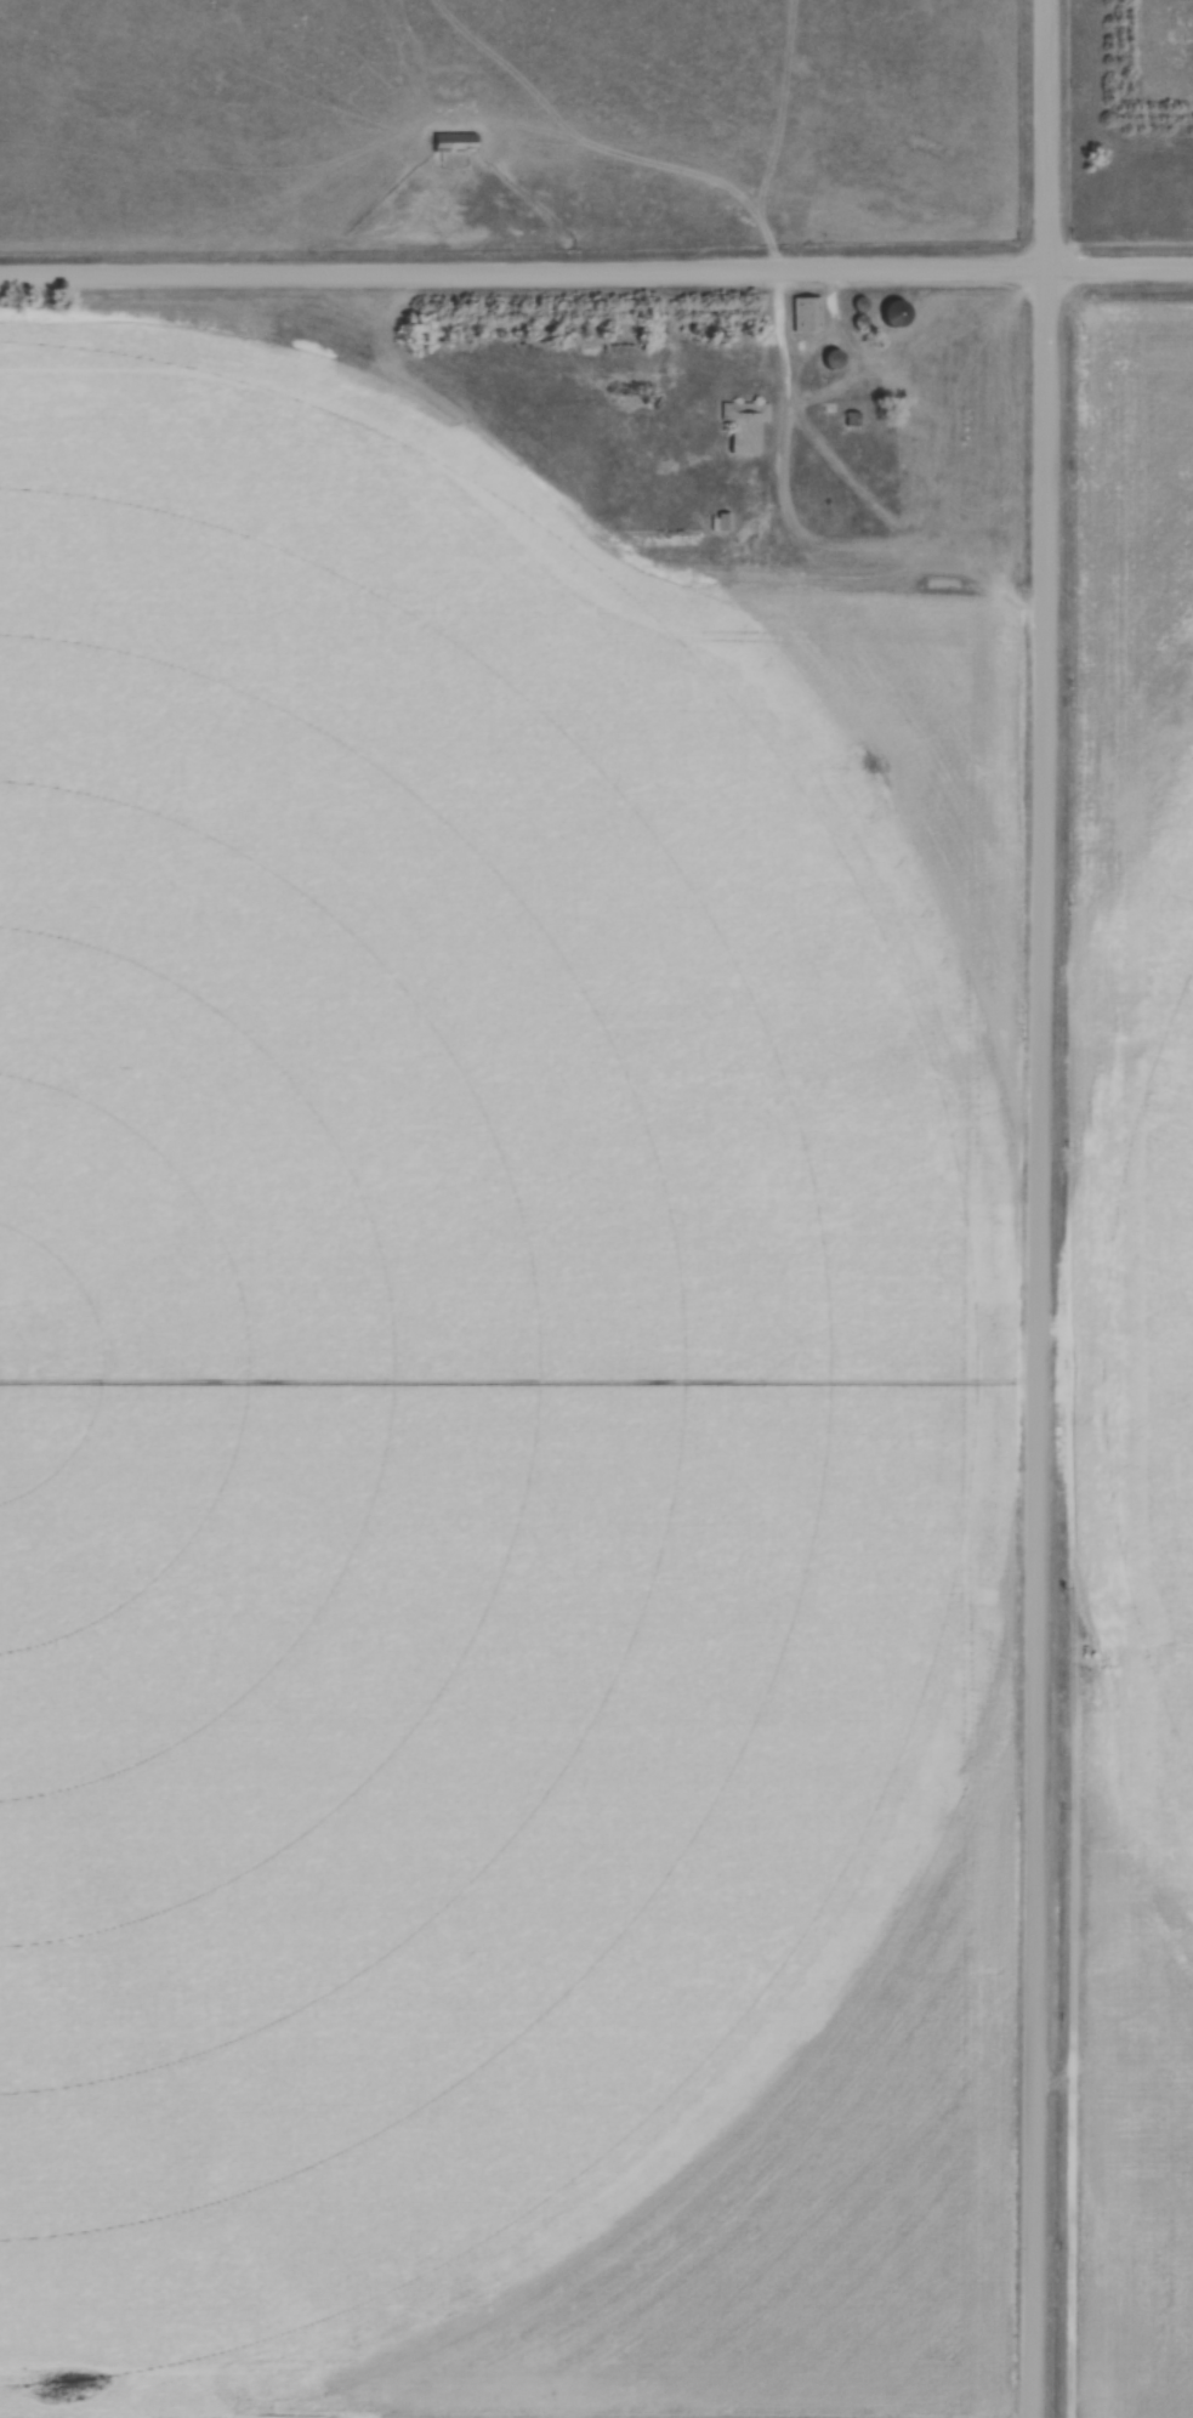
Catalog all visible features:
building: (453, 142)
road: (596, 273)
building: (805, 314)
building: (893, 314)
building: (830, 361)
road: (789, 362)
building: (743, 426)
building: (908, 479)
road: (1041, 1208)

